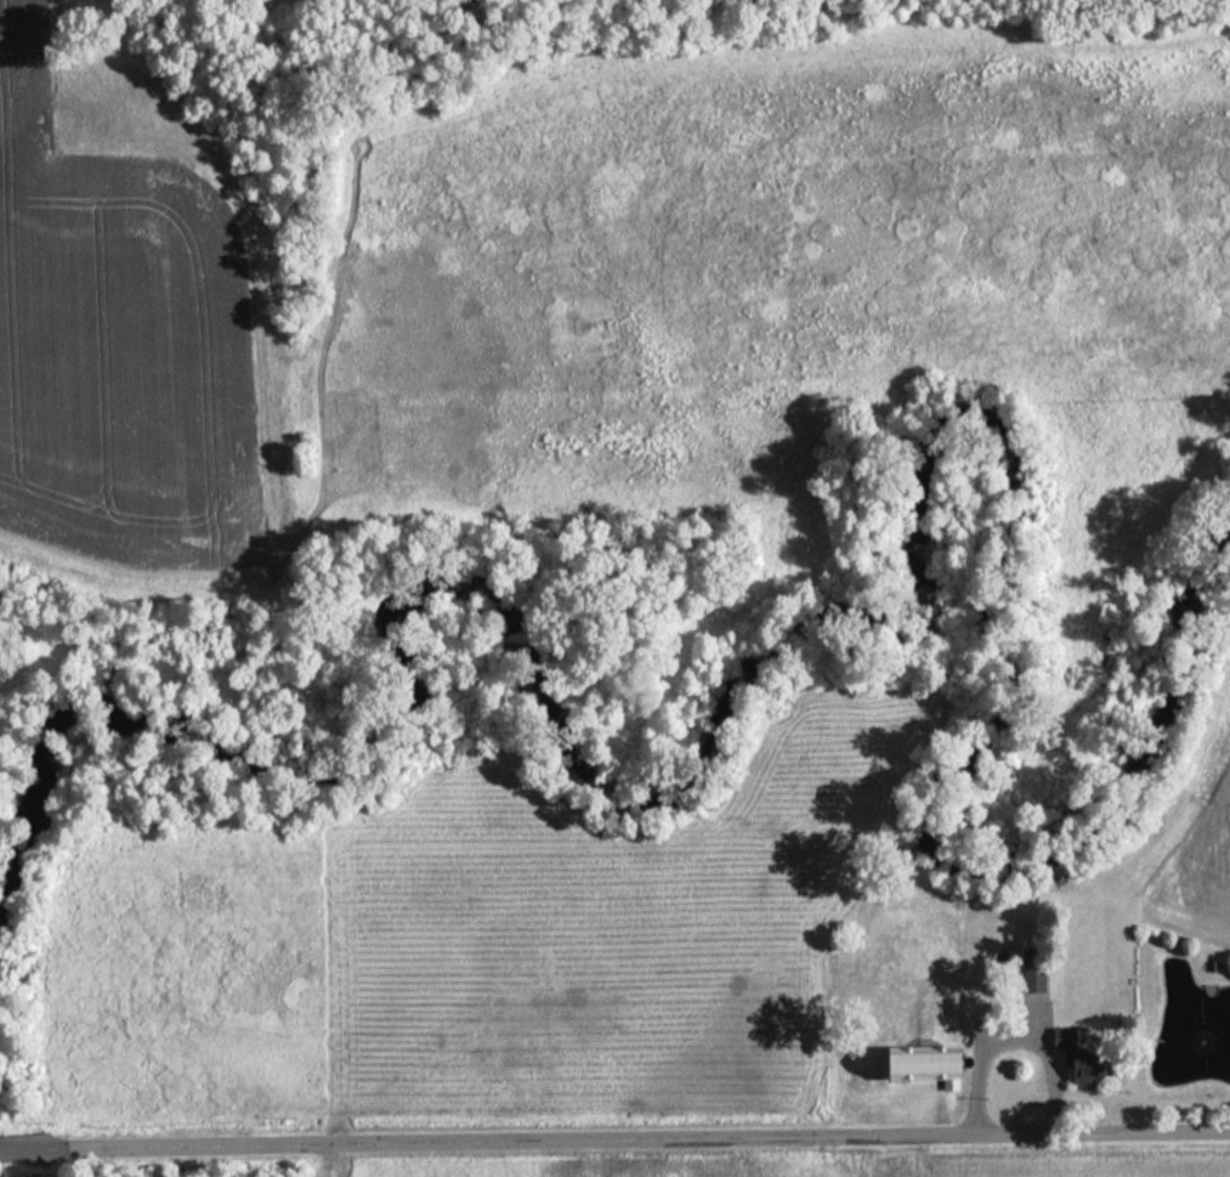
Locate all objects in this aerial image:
building: (1037, 979)
building: (1070, 1052)
building: (930, 1065)
road: (614, 1138)
crop: (1088, 1171)

